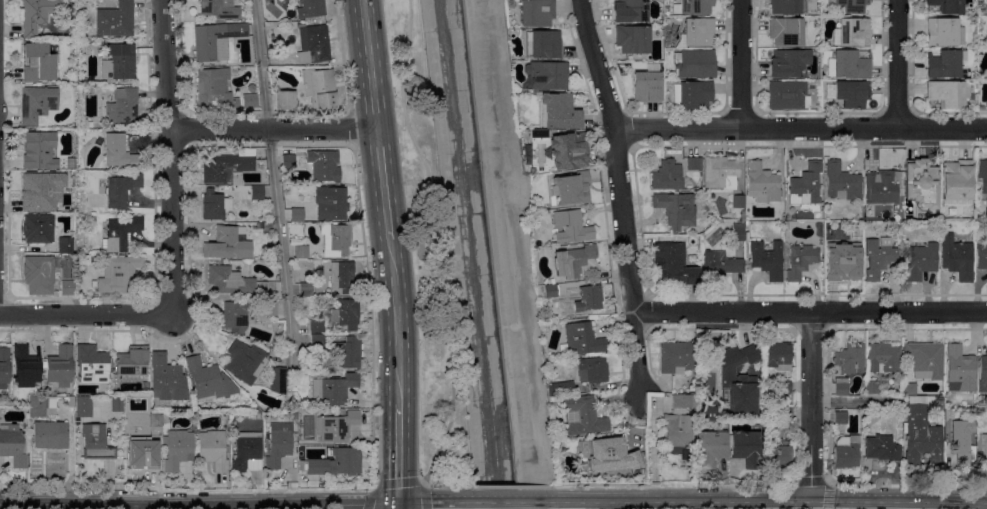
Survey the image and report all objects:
building: (849, 5)
building: (693, 6)
building: (947, 6)
building: (788, 7)
building: (310, 8)
building: (219, 9)
building: (631, 11)
building: (536, 12)
building: (33, 17)
building: (115, 20)
building: (785, 31)
building: (698, 32)
building: (853, 32)
building: (944, 32)
building: (632, 39)
building: (216, 40)
building: (312, 44)
building: (543, 44)
road: (341, 56)
building: (119, 62)
building: (37, 63)
building: (694, 63)
building: (789, 63)
building: (942, 63)
road: (369, 64)
road: (742, 64)
road: (899, 64)
building: (847, 65)
building: (545, 76)
building: (646, 87)
building: (251, 88)
building: (319, 88)
building: (214, 89)
building: (851, 94)
building: (692, 95)
building: (787, 95)
building: (946, 95)
building: (284, 100)
building: (249, 101)
building: (37, 105)
building: (986, 105)
building: (123, 107)
road: (307, 112)
building: (558, 112)
road: (404, 120)
building: (87, 124)
building: (73, 126)
road: (800, 128)
road: (272, 129)
road: (350, 129)
building: (539, 134)
building: (38, 146)
road: (311, 146)
building: (568, 151)
building: (119, 152)
road: (169, 157)
building: (693, 163)
building: (64, 164)
building: (315, 166)
building: (228, 167)
building: (720, 173)
building: (666, 176)
building: (982, 176)
road: (273, 178)
building: (956, 180)
road: (383, 181)
building: (841, 182)
building: (761, 183)
building: (883, 184)
building: (921, 184)
building: (805, 185)
building: (39, 187)
building: (569, 188)
building: (116, 193)
building: (257, 193)
road: (621, 198)
building: (737, 201)
building: (330, 203)
building: (215, 205)
building: (65, 206)
building: (706, 209)
building: (676, 210)
building: (297, 214)
building: (747, 223)
road: (498, 226)
building: (570, 227)
building: (38, 228)
building: (738, 232)
building: (121, 233)
building: (339, 239)
building: (225, 244)
building: (64, 245)
building: (301, 252)
park: (426, 255)
building: (878, 257)
building: (956, 257)
building: (981, 257)
building: (767, 259)
building: (800, 261)
building: (575, 262)
building: (920, 262)
building: (845, 263)
building: (672, 264)
building: (718, 265)
building: (316, 268)
building: (38, 275)
building: (120, 275)
building: (344, 279)
building: (233, 281)
building: (76, 286)
building: (66, 287)
building: (305, 290)
building: (550, 291)
building: (585, 298)
building: (330, 302)
building: (269, 309)
road: (810, 312)
road: (87, 315)
building: (338, 316)
road: (370, 316)
building: (233, 317)
road: (396, 318)
building: (582, 339)
building: (316, 341)
building: (986, 346)
building: (349, 352)
building: (676, 357)
building: (883, 357)
building: (778, 358)
building: (850, 358)
road: (450, 360)
building: (925, 360)
building: (132, 361)
building: (245, 362)
building: (91, 364)
building: (4, 366)
building: (59, 366)
building: (25, 367)
building: (592, 370)
building: (959, 370)
building: (982, 374)
building: (738, 378)
building: (166, 379)
building: (208, 380)
building: (277, 380)
building: (783, 386)
building: (840, 386)
building: (872, 387)
building: (560, 388)
building: (333, 389)
building: (909, 389)
building: (722, 395)
building: (681, 401)
building: (40, 405)
building: (116, 405)
road: (810, 405)
building: (84, 407)
building: (708, 413)
building: (784, 414)
building: (295, 416)
building: (583, 416)
building: (164, 418)
building: (840, 418)
building: (336, 427)
building: (678, 430)
building: (920, 434)
building: (50, 435)
building: (559, 436)
building: (96, 442)
building: (962, 442)
road: (652, 444)
building: (12, 445)
building: (279, 446)
building: (711, 448)
building: (746, 448)
building: (881, 448)
building: (984, 448)
building: (177, 449)
building: (213, 450)
building: (247, 451)
building: (846, 451)
building: (301, 453)
road: (399, 453)
building: (144, 454)
building: (609, 455)
building: (686, 455)
building: (778, 456)
building: (334, 462)
road: (810, 482)
road: (905, 483)
road: (399, 484)
road: (752, 484)
road: (536, 486)
road: (185, 490)
road: (652, 490)
road: (828, 496)
road: (771, 499)
road: (431, 500)
road: (510, 500)
traffic signals: (399, 502)
road: (84, 503)
road: (284, 503)
road: (608, 504)
road: (398, 505)
road: (827, 508)

